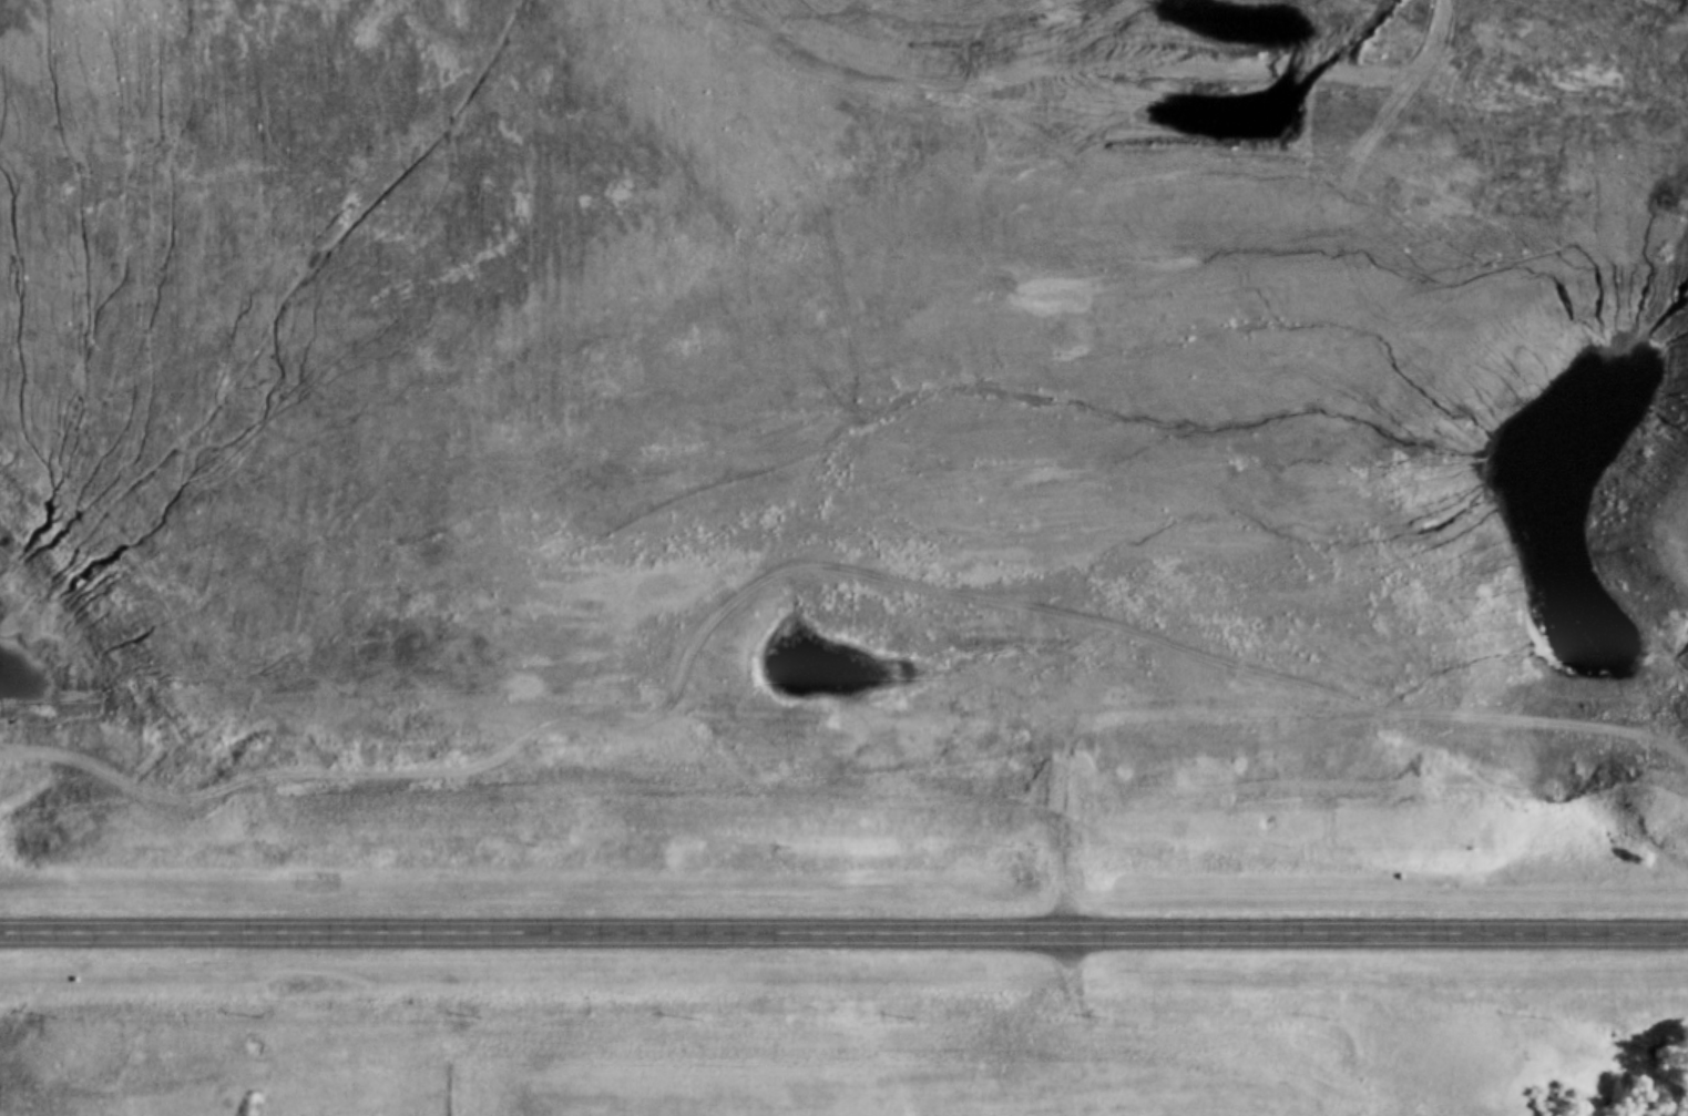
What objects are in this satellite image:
quarry: (151, 347)
road: (843, 932)

